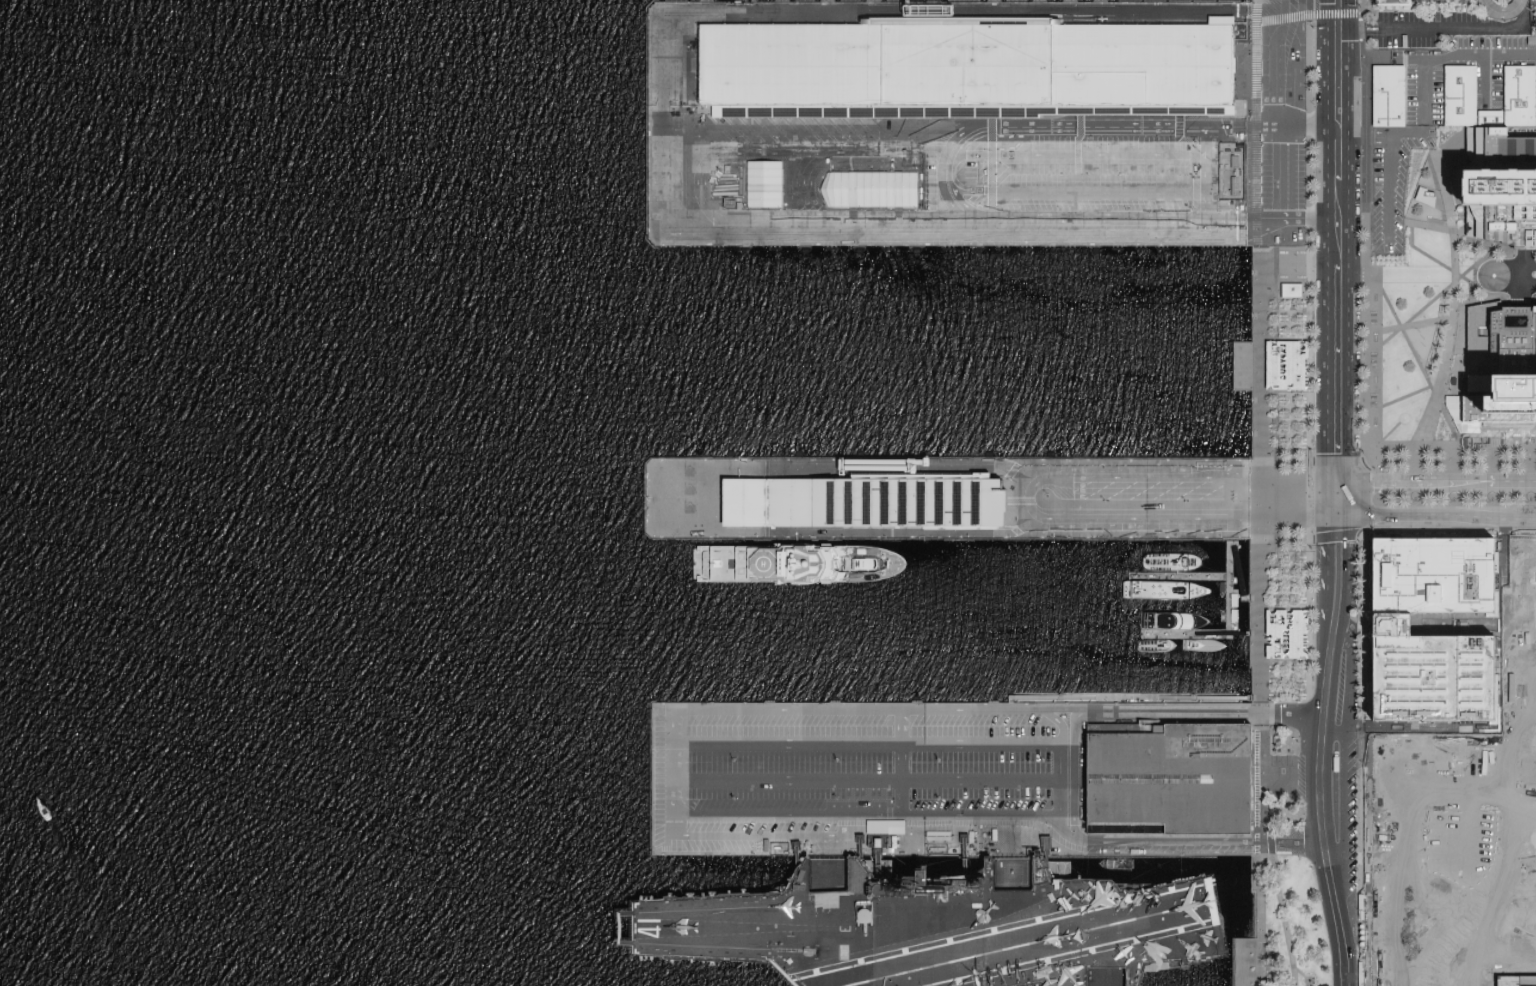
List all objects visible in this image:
road: (1280, 1)
building: (1392, 4)
road: (1360, 7)
road: (1292, 8)
building: (1502, 8)
parking lot: (1502, 8)
road: (1307, 16)
road: (1447, 28)
toll booth: (1373, 29)
road: (1424, 59)
road: (1273, 64)
building: (973, 69)
road: (1296, 74)
road: (1485, 79)
building: (1460, 88)
building: (1388, 98)
parking lot: (1431, 118)
pier: (951, 120)
road: (1327, 129)
road: (1335, 130)
road: (1076, 154)
building: (1228, 159)
road: (707, 161)
road: (1387, 168)
road: (1274, 174)
road: (940, 177)
building: (769, 185)
building: (874, 189)
building: (1499, 189)
road: (1106, 193)
road: (1255, 216)
road: (1297, 217)
road: (1348, 241)
parking lot: (1525, 247)
road: (1524, 260)
road: (1515, 273)
road: (1469, 280)
road: (1368, 289)
building: (1293, 291)
road: (1427, 303)
road: (1453, 313)
park: (1419, 329)
road: (1418, 361)
building: (1502, 364)
building: (1287, 366)
road: (1328, 370)
road: (1434, 390)
road: (1470, 446)
road: (1372, 475)
road: (1171, 478)
road: (1326, 483)
road: (1339, 483)
road: (1360, 484)
road: (1431, 484)
road: (1513, 485)
road: (1260, 486)
pier: (947, 499)
road: (1328, 499)
road: (1349, 500)
building: (864, 503)
road: (1325, 515)
road: (1338, 515)
road: (1442, 516)
road: (1167, 518)
road: (1328, 532)
road: (1257, 555)
building: (1166, 559)
road: (1262, 569)
road: (1228, 570)
road: (1238, 572)
road: (1177, 576)
road: (1327, 590)
pier: (1231, 592)
road: (1253, 598)
road: (1226, 603)
road: (1196, 631)
building: (1286, 633)
road: (1191, 634)
road: (1222, 634)
road: (1256, 634)
road: (1349, 689)
road: (1209, 712)
road: (881, 713)
road: (1058, 724)
road: (866, 744)
road: (1337, 744)
road: (1257, 746)
road: (673, 749)
road: (1327, 751)
road: (901, 765)
road: (1073, 771)
parking lot: (831, 776)
road: (1288, 778)
pier: (650, 780)
road: (1059, 781)
road: (866, 783)
building: (1174, 784)
road: (1266, 793)
road: (1310, 809)
road: (744, 819)
road: (952, 819)
road: (1343, 823)
building: (885, 825)
road: (879, 831)
road: (1063, 831)
road: (757, 838)
road: (1194, 844)
road: (1258, 922)
building: (946, 927)
park: (1281, 930)
road: (1527, 982)

